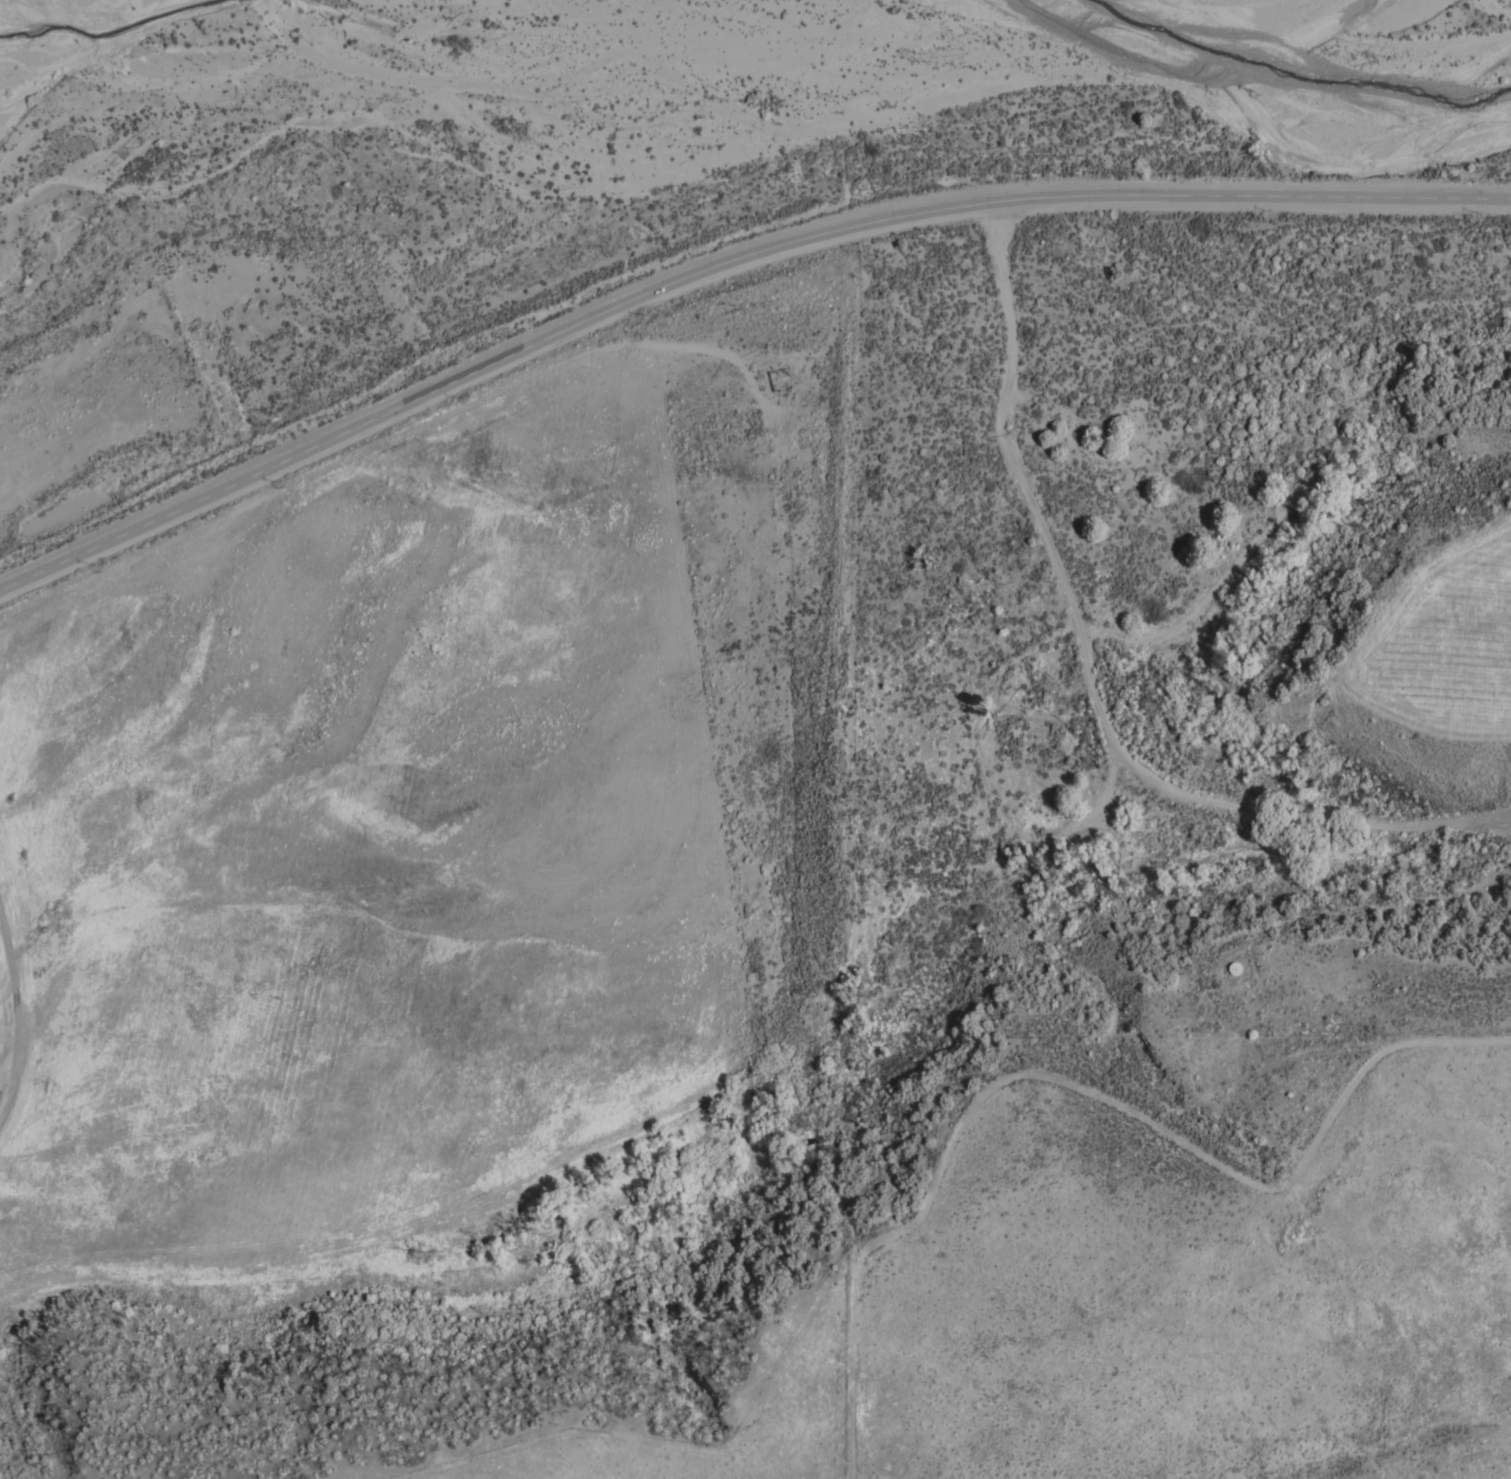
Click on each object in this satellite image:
river: (159, 124)
road: (723, 268)
road: (1086, 679)
road: (1350, 911)

